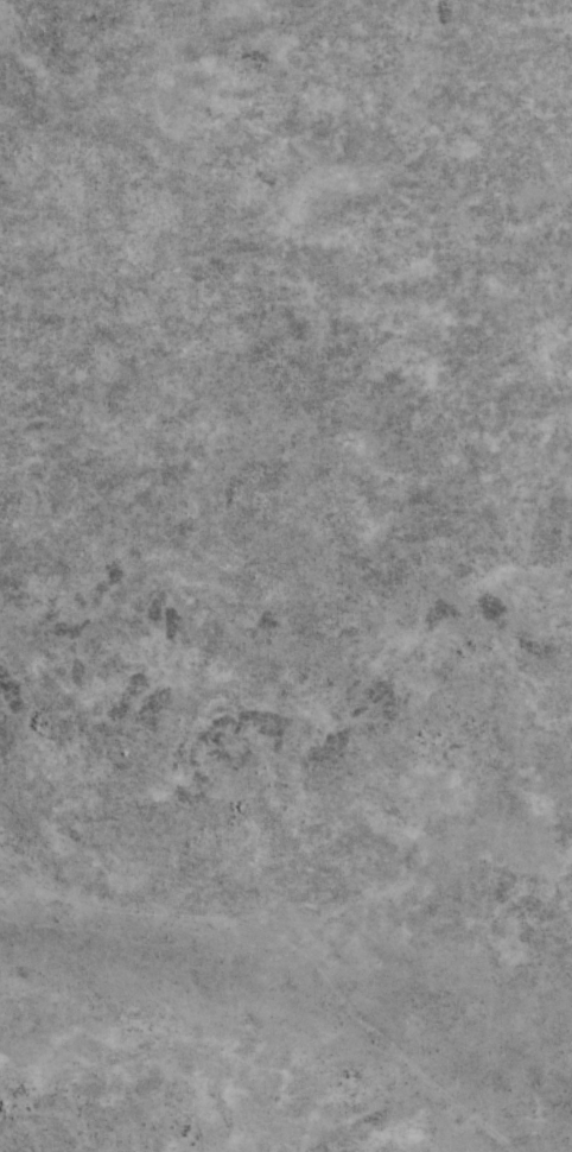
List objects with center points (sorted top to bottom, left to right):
road: (277, 950)

